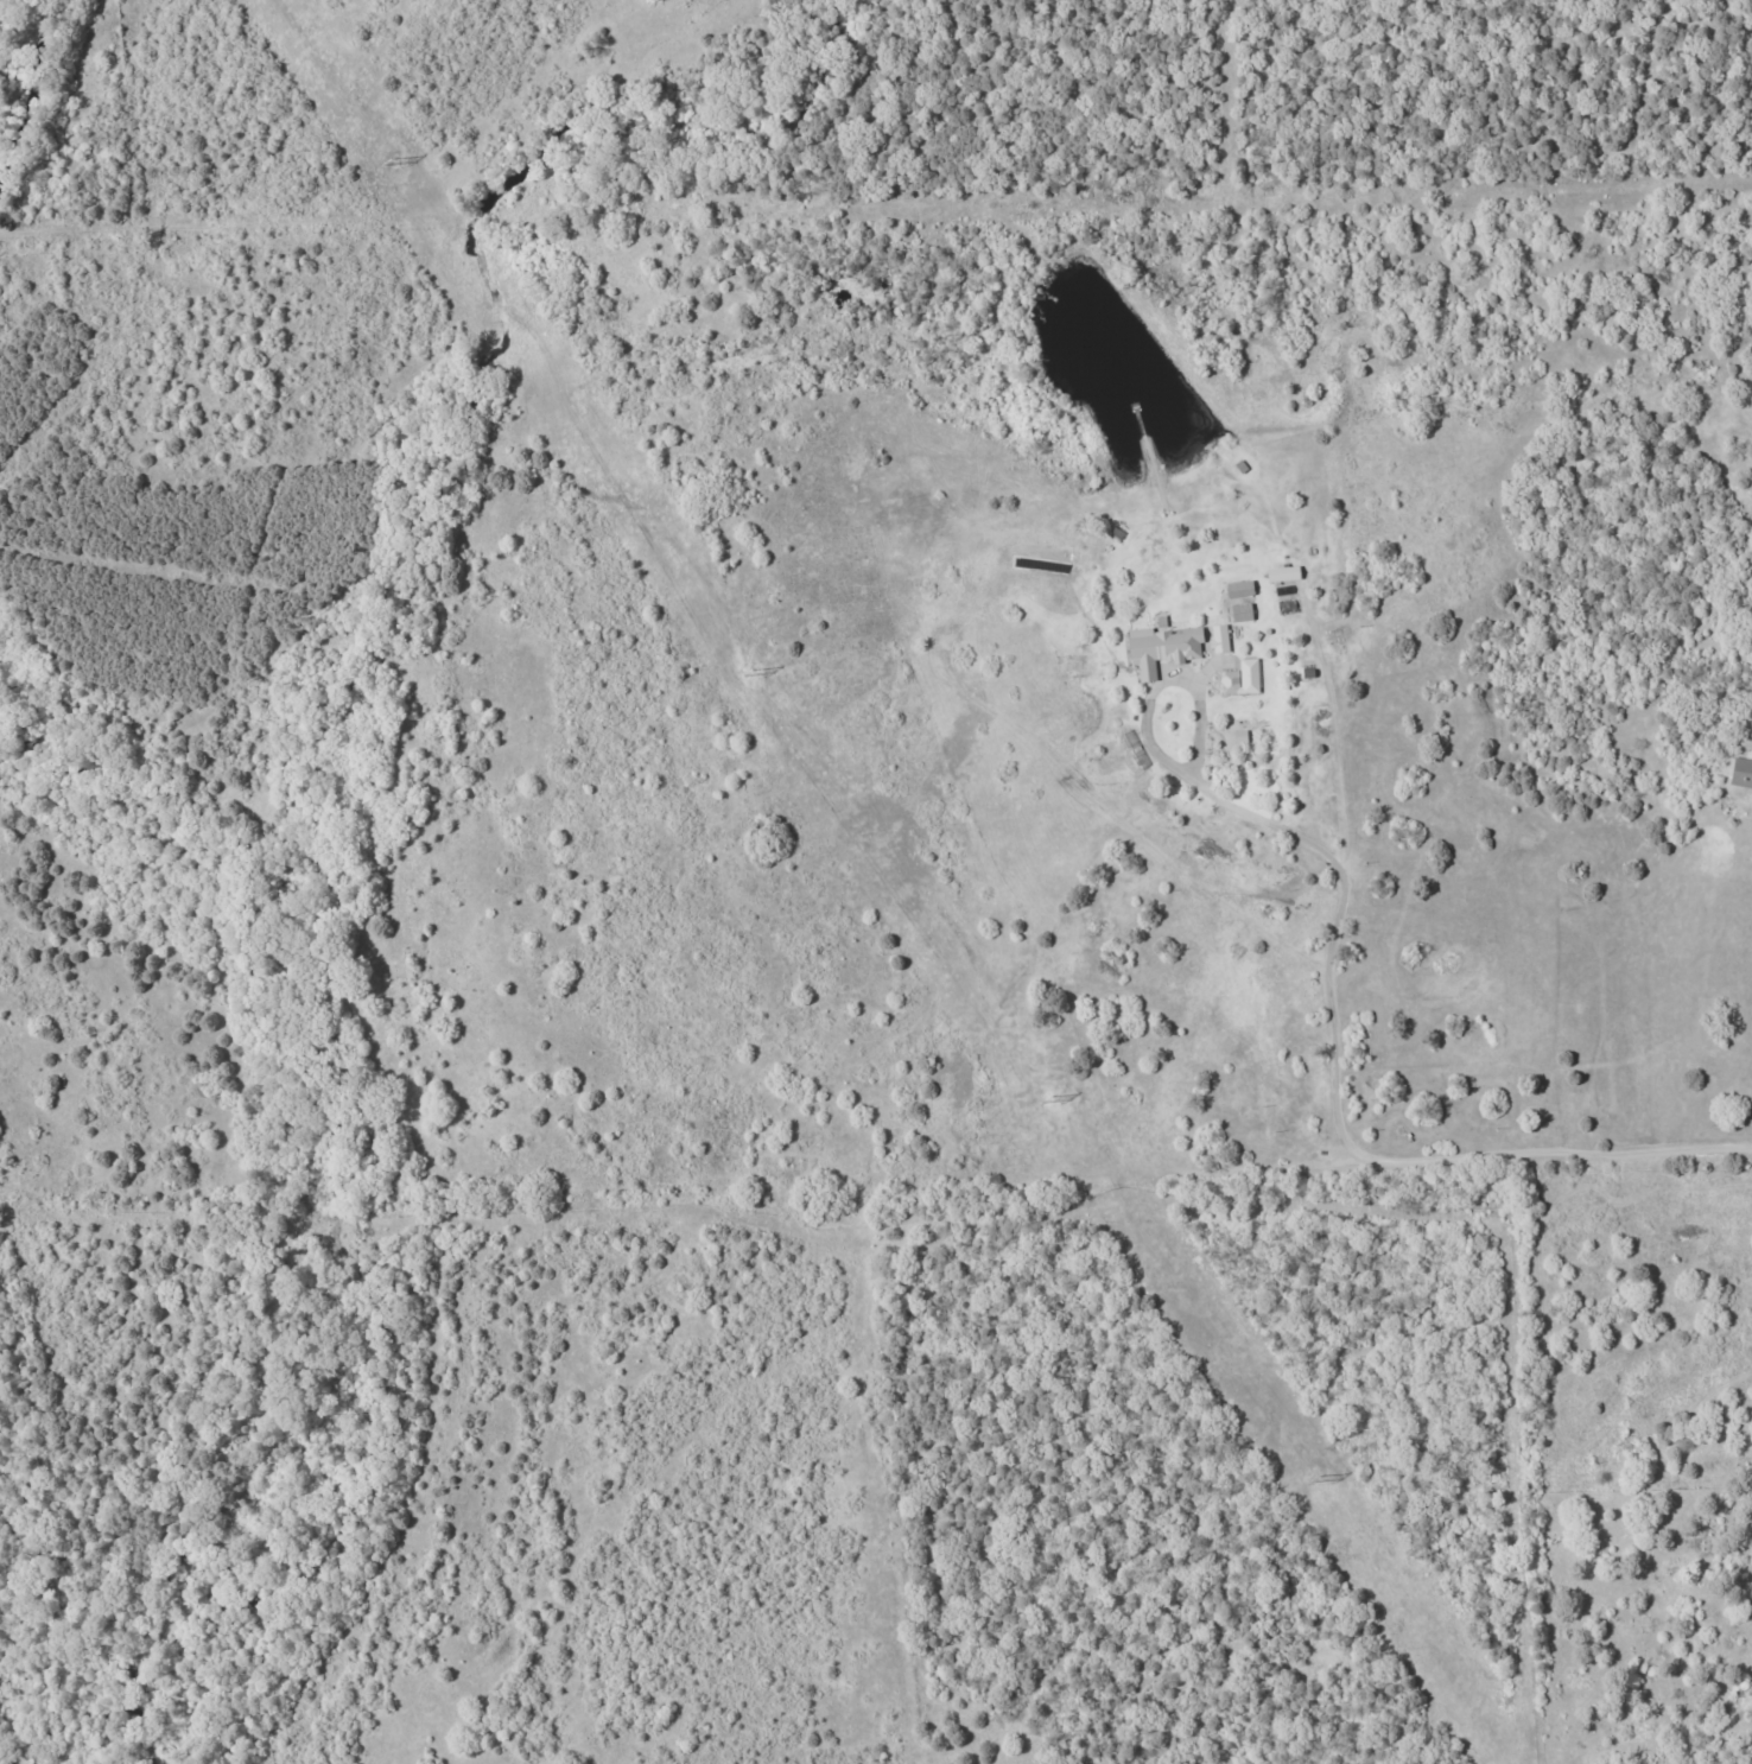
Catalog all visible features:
power tower: (399, 165)
building: (1238, 588)
building: (1239, 611)
building: (1218, 637)
building: (1161, 647)
power tower: (750, 673)
building: (1239, 678)
road: (1164, 759)
building: (1740, 772)
road: (1335, 1077)
power tower: (1056, 1105)
power tower: (1316, 1481)

